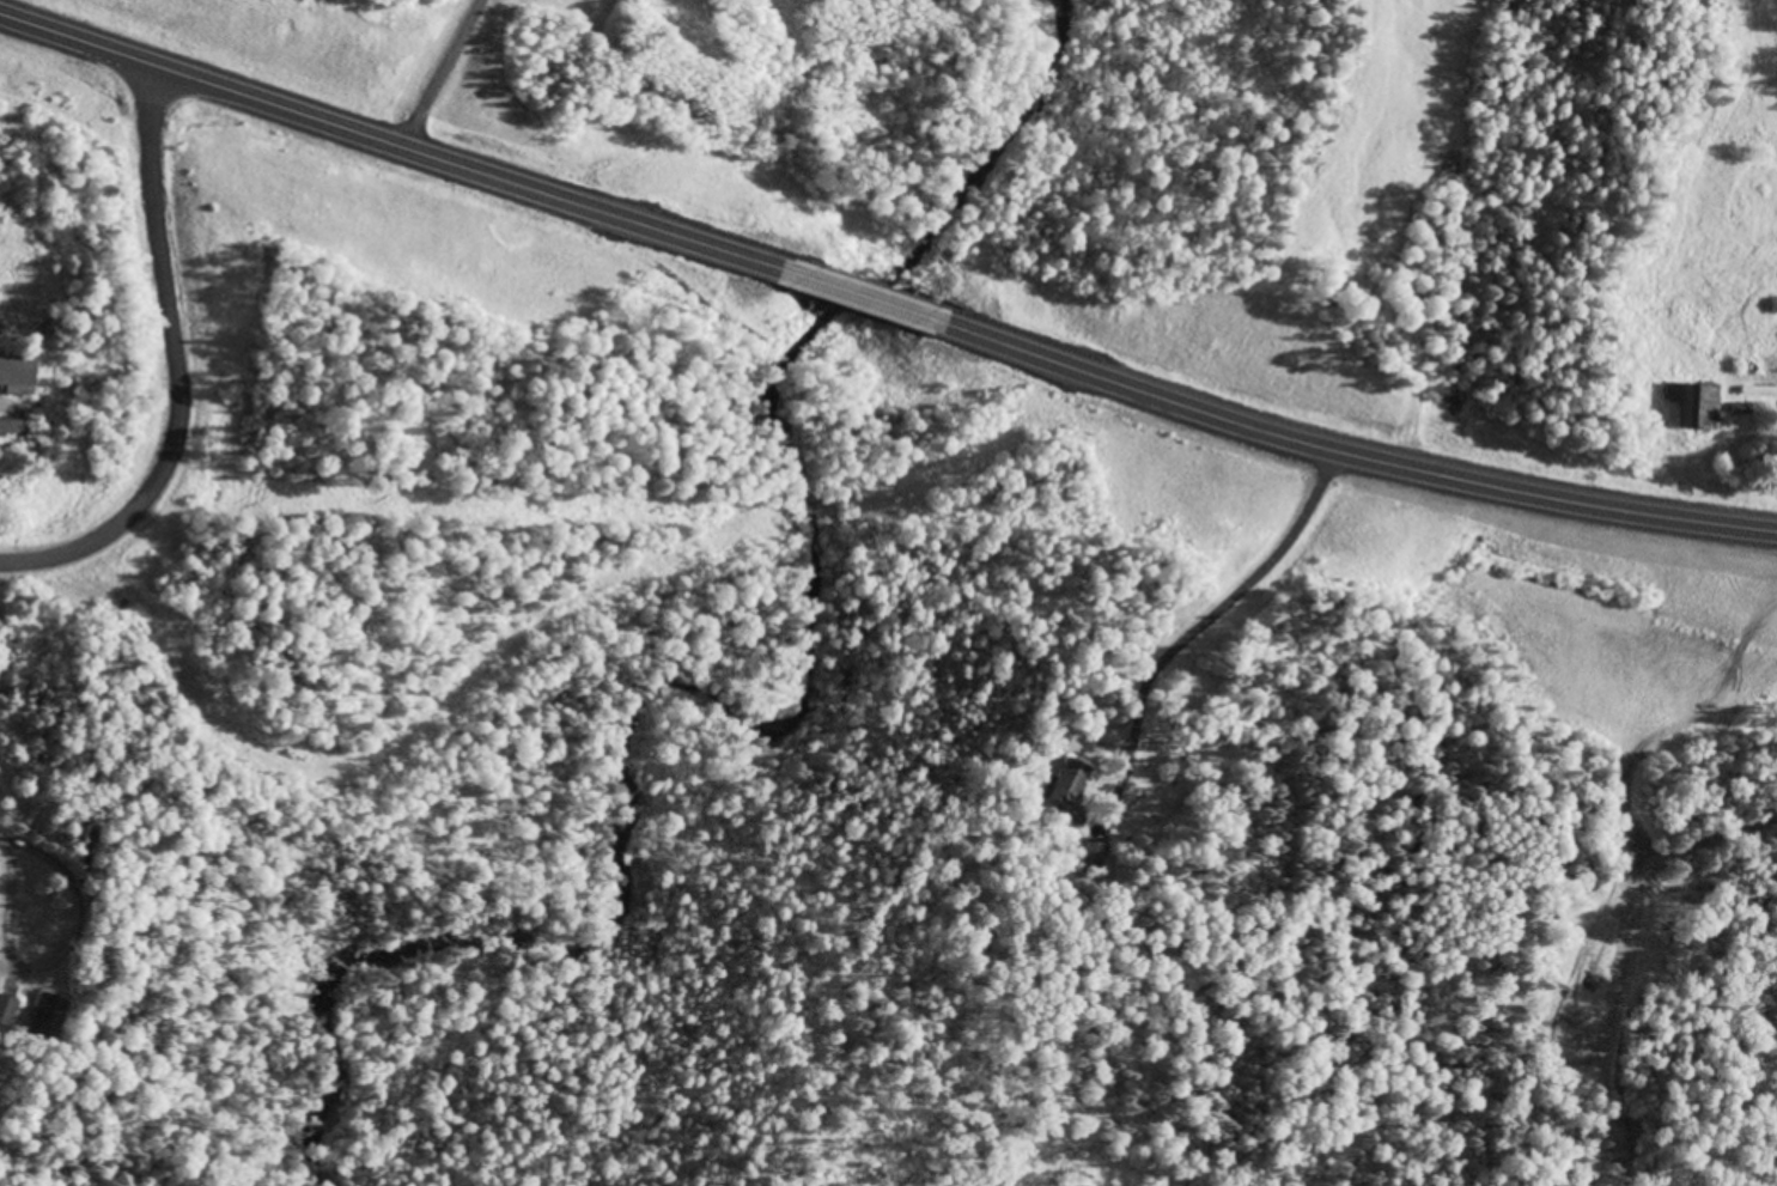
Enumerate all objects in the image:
road: (396, 141)
road: (852, 294)
building: (1770, 306)
road: (177, 367)
building: (13, 376)
building: (1670, 405)
building: (1702, 407)
road: (1339, 446)
road: (570, 619)
building: (1066, 783)
building: (1091, 854)
building: (5, 1010)
building: (43, 1017)

